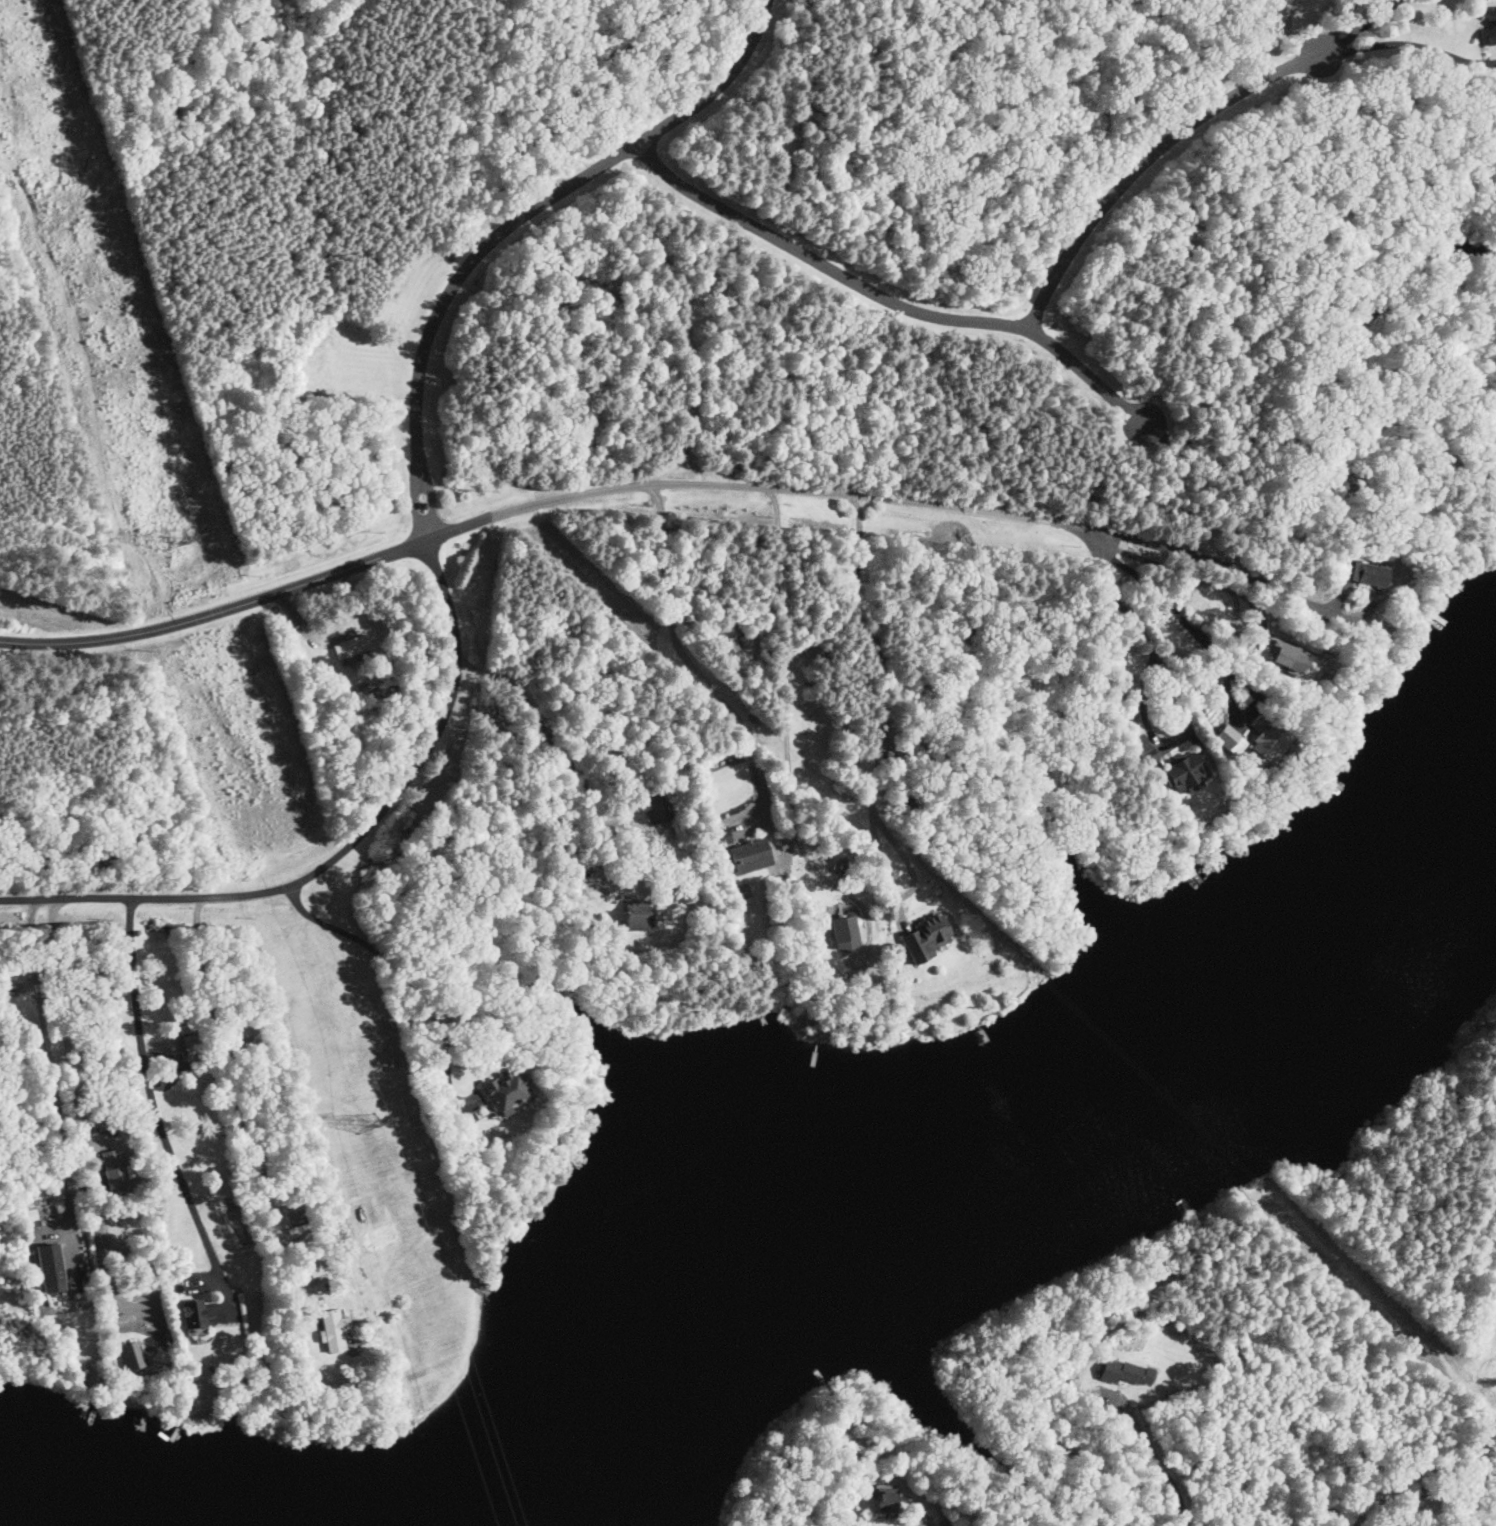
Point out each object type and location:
road: (1140, 159)
road: (508, 226)
road: (885, 301)
road: (754, 485)
power tower: (172, 547)
building: (1361, 574)
road: (1170, 607)
road: (216, 612)
building: (349, 648)
building: (1281, 656)
road: (786, 681)
building: (1223, 736)
building: (1264, 745)
building: (1181, 774)
building: (656, 808)
road: (339, 854)
building: (743, 856)
building: (850, 933)
building: (920, 936)
road: (151, 1114)
power tower: (370, 1127)
building: (118, 1174)
building: (34, 1222)
building: (319, 1264)
building: (57, 1269)
building: (195, 1316)
building: (336, 1331)
building: (168, 1343)
building: (135, 1362)
building: (879, 1500)

